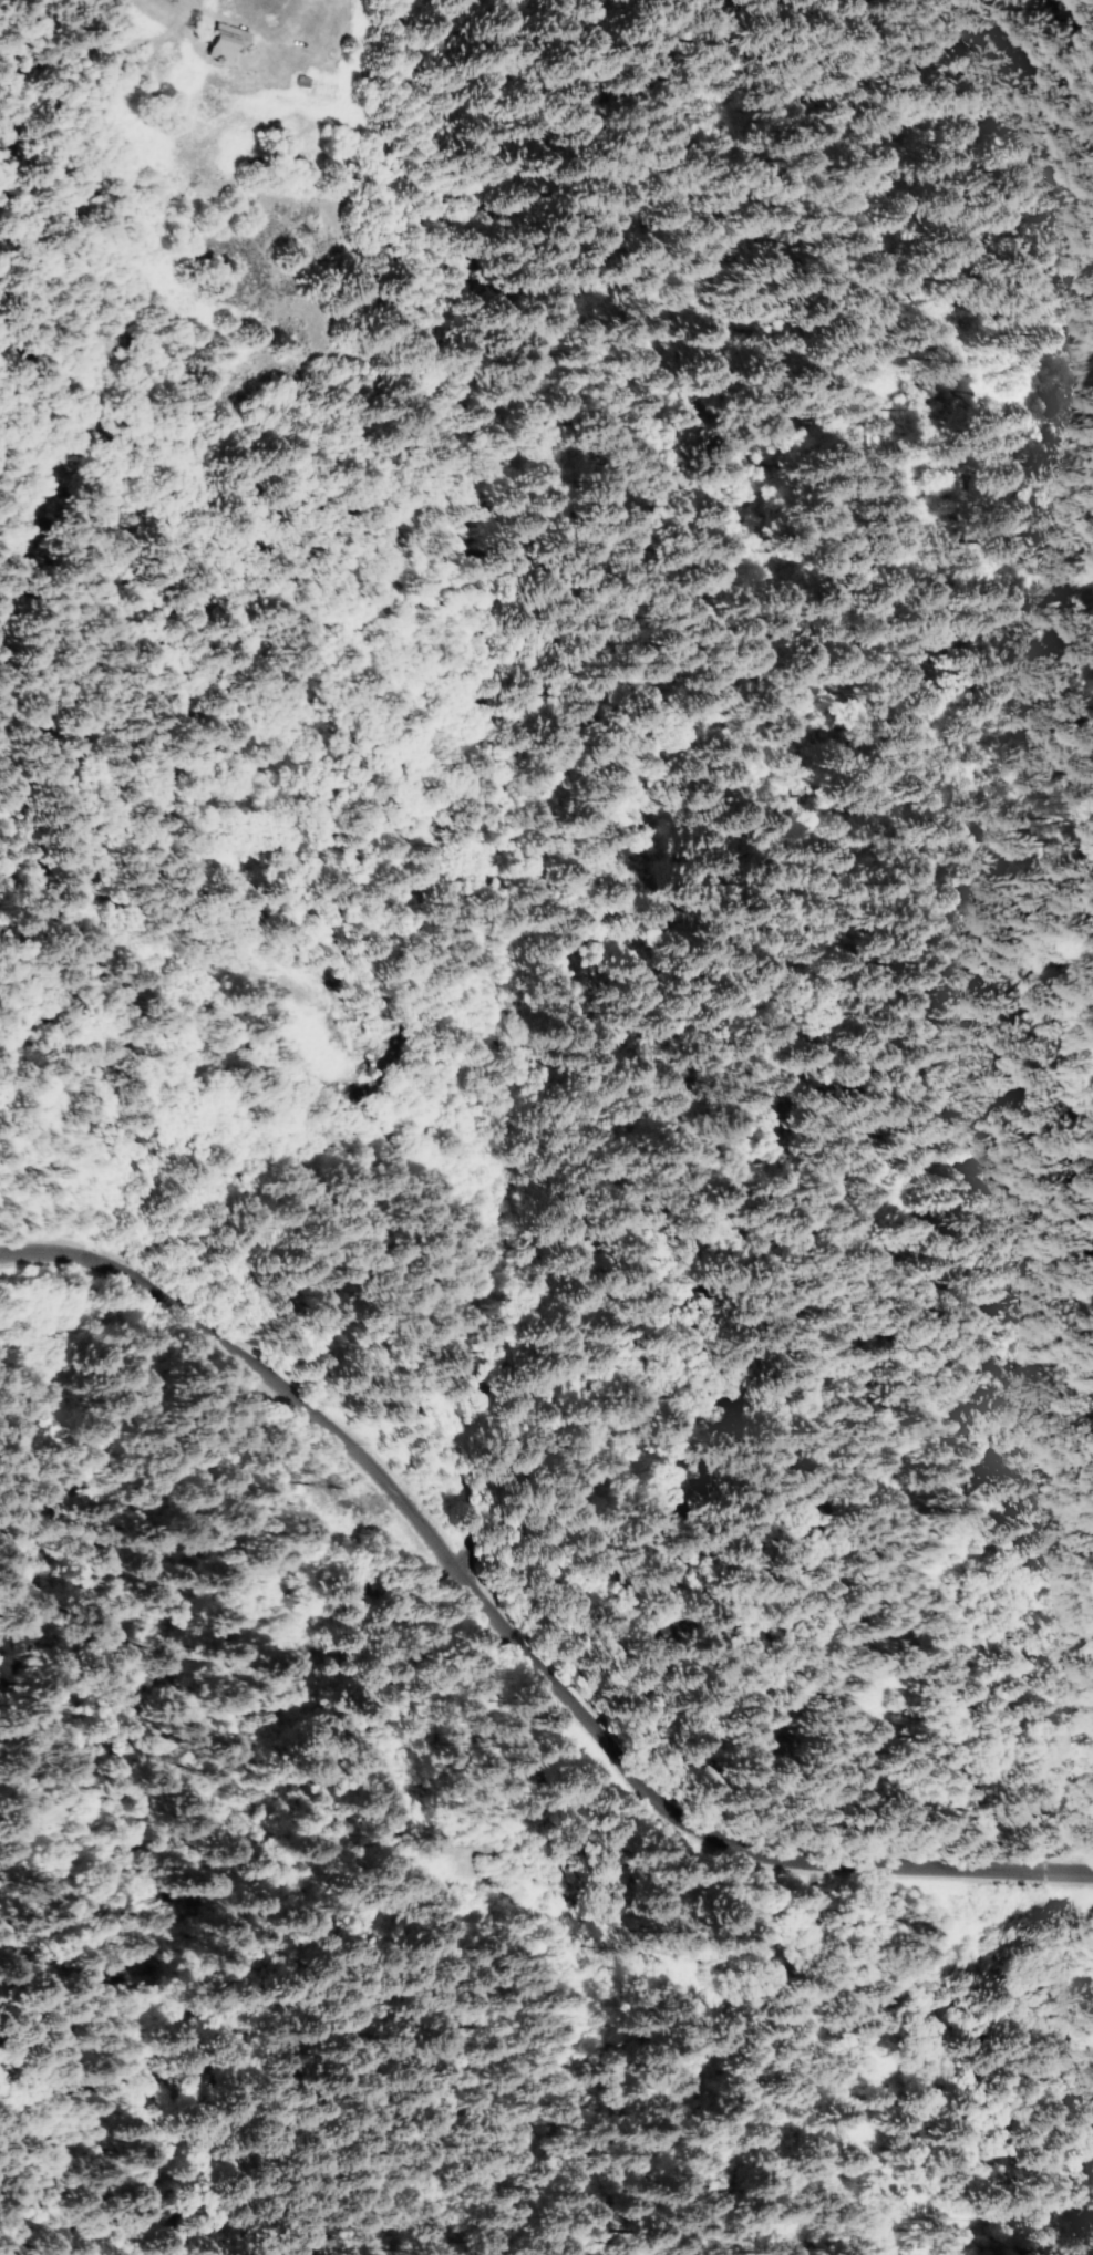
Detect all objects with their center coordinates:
building: (225, 42)
road: (35, 94)
road: (285, 659)
road: (212, 961)
road: (118, 964)
road: (516, 1637)
road: (994, 1725)
park: (1092, 1980)

